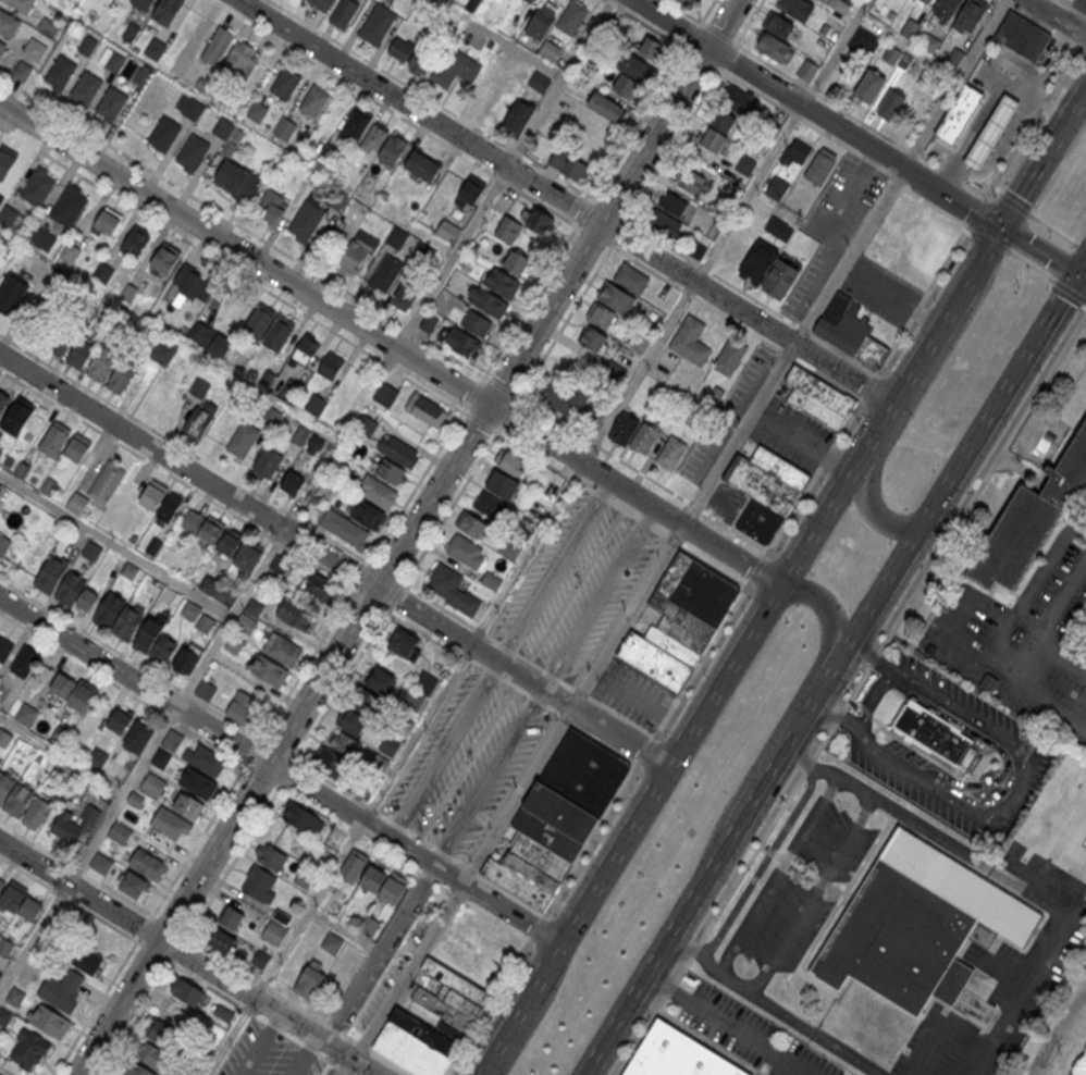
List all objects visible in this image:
building: (811, 0)
building: (1074, 0)
building: (530, 1)
building: (1071, 1)
building: (686, 2)
building: (924, 2)
building: (141, 3)
building: (21, 4)
building: (322, 4)
building: (839, 5)
building: (947, 8)
building: (795, 9)
building: (166, 11)
building: (343, 13)
building: (970, 15)
building: (571, 17)
road: (1056, 18)
building: (542, 21)
building: (7, 23)
building: (378, 24)
building: (48, 27)
building: (779, 27)
building: (909, 29)
building: (129, 32)
building: (1023, 37)
building: (865, 42)
building: (929, 42)
building: (87, 45)
building: (217, 46)
building: (2, 47)
building: (34, 48)
building: (155, 48)
building: (651, 48)
building: (773, 49)
building: (399, 50)
building: (550, 50)
building: (238, 54)
building: (897, 58)
building: (113, 61)
building: (419, 63)
building: (455, 69)
building: (22, 71)
building: (61, 72)
building: (807, 72)
building: (631, 75)
building: (139, 76)
building: (285, 83)
building: (539, 83)
building: (86, 87)
building: (869, 88)
building: (314, 101)
building: (739, 101)
building: (111, 102)
building: (890, 106)
building: (605, 107)
building: (189, 108)
building: (257, 112)
road: (815, 112)
building: (959, 114)
building: (519, 116)
building: (356, 125)
building: (223, 127)
building: (284, 128)
building: (164, 133)
building: (718, 133)
building: (990, 134)
building: (373, 138)
road: (893, 143)
building: (392, 148)
building: (193, 151)
building: (795, 151)
road: (1042, 155)
building: (5, 160)
building: (422, 165)
building: (569, 165)
building: (745, 165)
building: (820, 165)
building: (236, 181)
building: (689, 181)
road: (904, 184)
building: (38, 186)
building: (777, 188)
building: (471, 191)
building: (336, 198)
road: (565, 202)
building: (271, 205)
building: (672, 205)
building: (69, 206)
building: (10, 218)
building: (307, 218)
building: (663, 223)
building: (106, 224)
traffic signals: (1000, 226)
building: (779, 227)
building: (508, 230)
building: (37, 235)
building: (396, 237)
building: (135, 240)
road: (1038, 251)
building: (70, 252)
building: (422, 252)
building: (351, 258)
building: (163, 262)
building: (517, 263)
road: (1081, 268)
building: (769, 270)
building: (385, 273)
building: (103, 274)
traffic signals: (1076, 276)
building: (631, 279)
road: (1081, 279)
building: (502, 283)
building: (194, 285)
parking lot: (880, 291)
building: (127, 293)
building: (406, 294)
building: (11, 295)
building: (616, 298)
building: (489, 301)
building: (220, 311)
building: (601, 316)
building: (429, 321)
building: (476, 322)
building: (849, 331)
building: (277, 333)
building: (592, 339)
building: (690, 341)
building: (462, 343)
road: (390, 344)
building: (57, 347)
building: (306, 350)
building: (163, 353)
parking lot: (1085, 355)
building: (79, 356)
building: (729, 357)
building: (102, 361)
building: (331, 366)
road: (637, 372)
building: (122, 376)
road: (480, 382)
building: (385, 394)
building: (563, 397)
building: (818, 399)
building: (3, 401)
road: (998, 401)
road: (911, 404)
building: (316, 406)
building: (425, 409)
building: (199, 413)
building: (18, 416)
parking lot: (727, 418)
building: (367, 424)
building: (624, 429)
parking lot: (791, 434)
building: (300, 435)
building: (644, 437)
building: (55, 438)
building: (243, 440)
building: (77, 449)
building: (397, 450)
building: (670, 453)
building: (267, 464)
building: (390, 471)
building: (107, 481)
building: (292, 483)
building: (503, 483)
road: (416, 486)
building: (377, 491)
building: (765, 492)
building: (153, 494)
parking lot: (725, 503)
building: (76, 504)
building: (171, 506)
building: (367, 515)
building: (1031, 518)
building: (470, 526)
building: (344, 528)
road: (677, 536)
road: (407, 537)
building: (222, 540)
road: (115, 544)
building: (3, 545)
building: (509, 549)
building: (465, 551)
road: (333, 561)
building: (279, 566)
road: (554, 571)
parking lot: (555, 572)
building: (51, 574)
building: (491, 581)
building: (317, 585)
building: (71, 588)
building: (453, 589)
building: (219, 591)
parking lot: (597, 598)
road: (600, 600)
road: (973, 602)
building: (111, 608)
building: (294, 615)
road: (230, 619)
building: (129, 620)
building: (680, 620)
building: (246, 622)
building: (205, 623)
road: (1050, 628)
building: (149, 634)
parking lot: (1022, 640)
building: (403, 643)
building: (234, 644)
building: (283, 648)
road: (739, 648)
building: (4, 650)
building: (186, 658)
road: (872, 658)
building: (25, 663)
building: (269, 669)
building: (381, 681)
building: (425, 683)
building: (71, 690)
building: (205, 690)
parking lot: (631, 694)
road: (591, 699)
building: (365, 702)
road: (875, 702)
road: (1050, 704)
building: (242, 706)
road: (786, 713)
building: (26, 715)
building: (120, 720)
road: (838, 720)
building: (351, 721)
building: (939, 736)
building: (138, 737)
building: (172, 740)
building: (344, 744)
road: (999, 746)
road: (442, 750)
road: (804, 752)
road: (61, 755)
building: (206, 759)
building: (330, 764)
building: (60, 773)
road: (281, 773)
road: (489, 778)
road: (847, 780)
building: (198, 782)
building: (5, 784)
building: (152, 784)
road: (1022, 789)
road: (121, 796)
building: (17, 800)
road: (750, 800)
building: (188, 805)
building: (36, 813)
building: (558, 818)
building: (303, 819)
building: (171, 821)
building: (74, 823)
road: (931, 831)
building: (120, 832)
building: (272, 857)
road: (763, 861)
building: (100, 862)
building: (146, 862)
building: (354, 865)
road: (777, 874)
building: (0, 884)
building: (133, 884)
building: (260, 884)
building: (384, 885)
parking lot: (801, 887)
road: (811, 894)
building: (13, 895)
building: (30, 910)
building: (231, 918)
road: (541, 918)
building: (917, 924)
building: (369, 926)
building: (274, 934)
building: (0, 935)
road: (34, 938)
building: (220, 941)
building: (332, 942)
road: (687, 944)
road: (379, 954)
road: (1035, 956)
road: (187, 959)
building: (88, 962)
road: (4, 969)
building: (0, 974)
building: (310, 981)
flagpole: (787, 984)
building: (186, 993)
building: (15, 997)
road: (756, 998)
building: (457, 1012)
building: (4, 1015)
building: (223, 1015)
road: (533, 1018)
building: (49, 1021)
road: (727, 1024)
road: (1058, 1030)
parking lot: (750, 1034)
road: (260, 1045)
building: (28, 1048)
road: (848, 1054)
building: (151, 1055)
building: (676, 1055)
road: (306, 1057)
building: (135, 1068)

